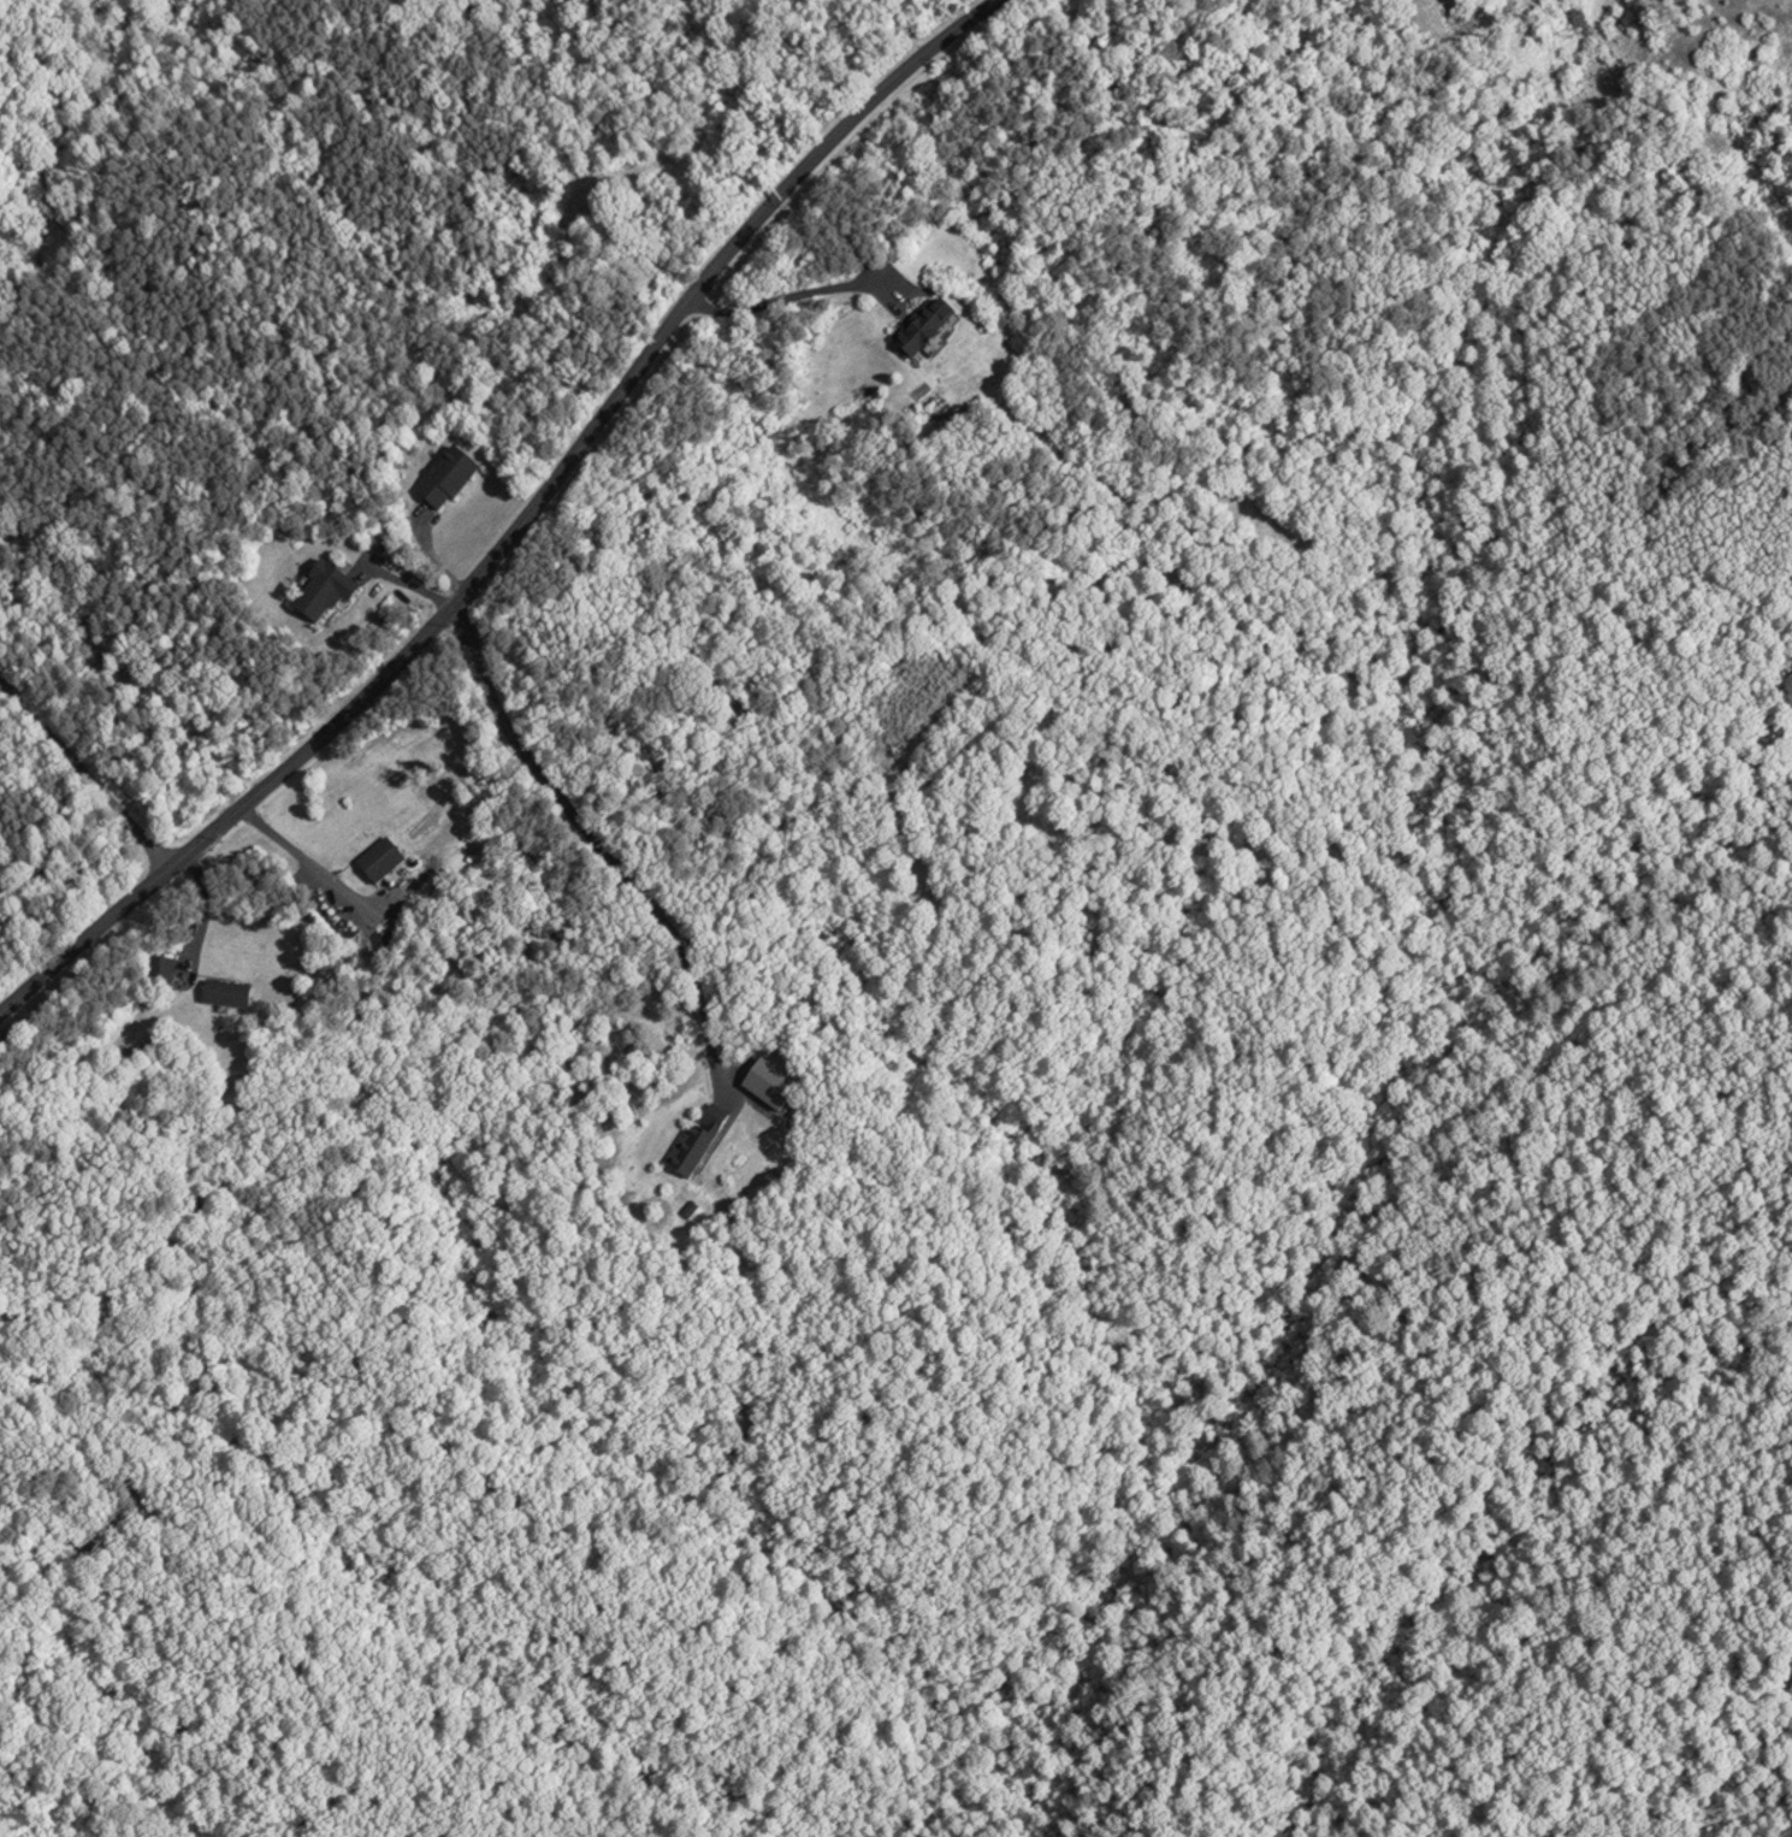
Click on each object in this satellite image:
road: (788, 293)
building: (919, 325)
building: (443, 479)
road: (519, 525)
building: (318, 593)
road: (83, 772)
road: (598, 845)
road: (292, 846)
building: (375, 858)
building: (155, 971)
building: (220, 993)
building: (694, 1139)

